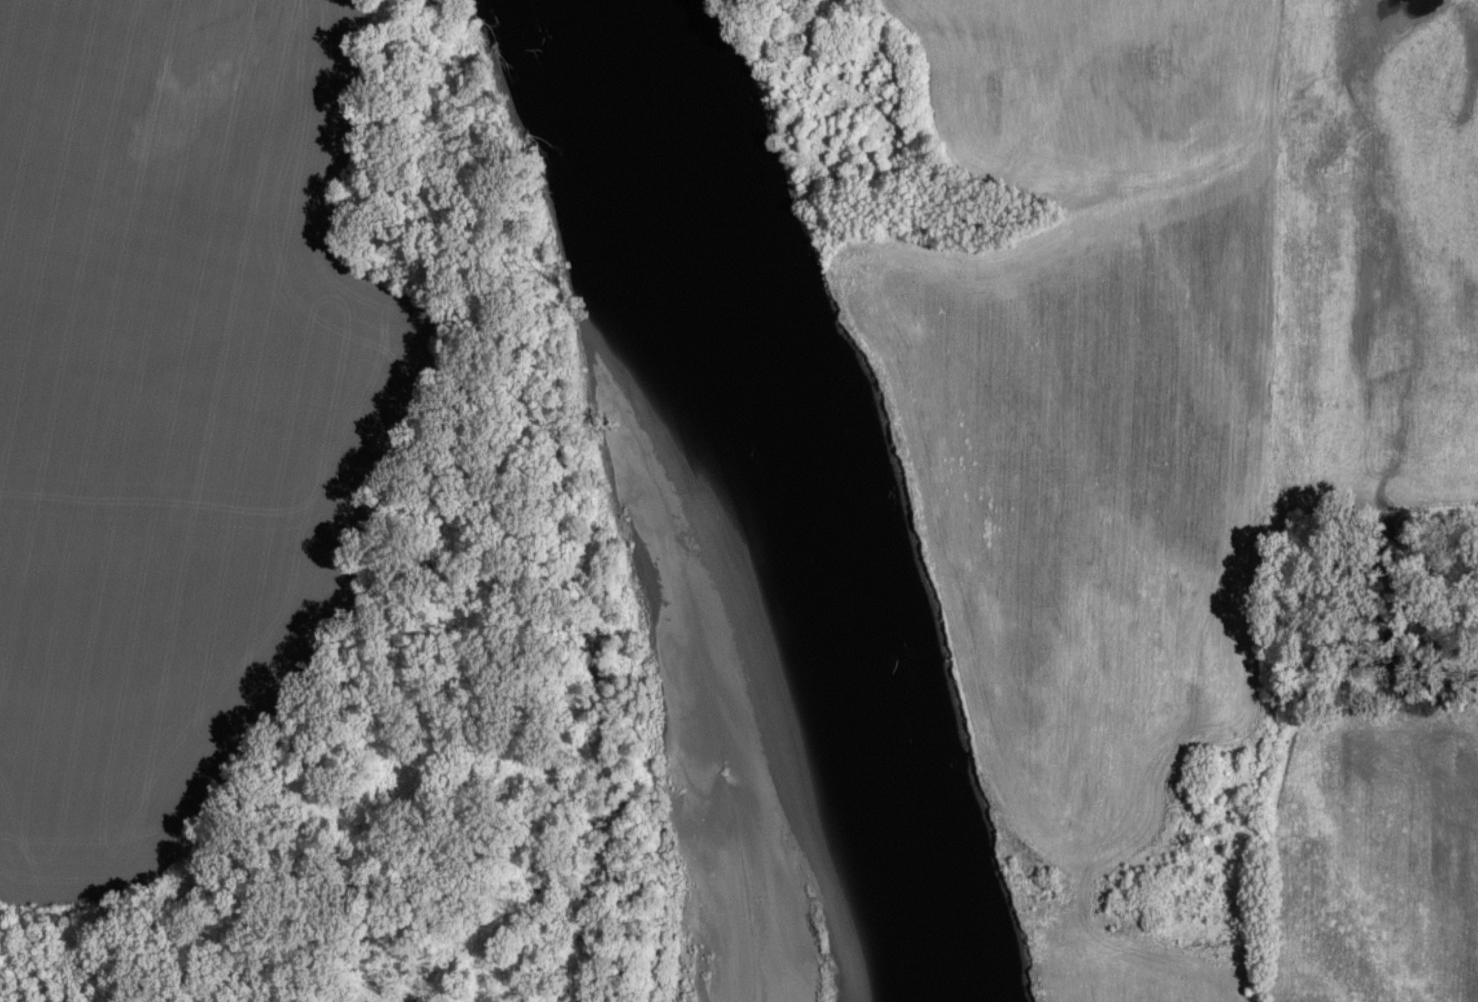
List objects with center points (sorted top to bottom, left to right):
river: (781, 488)

